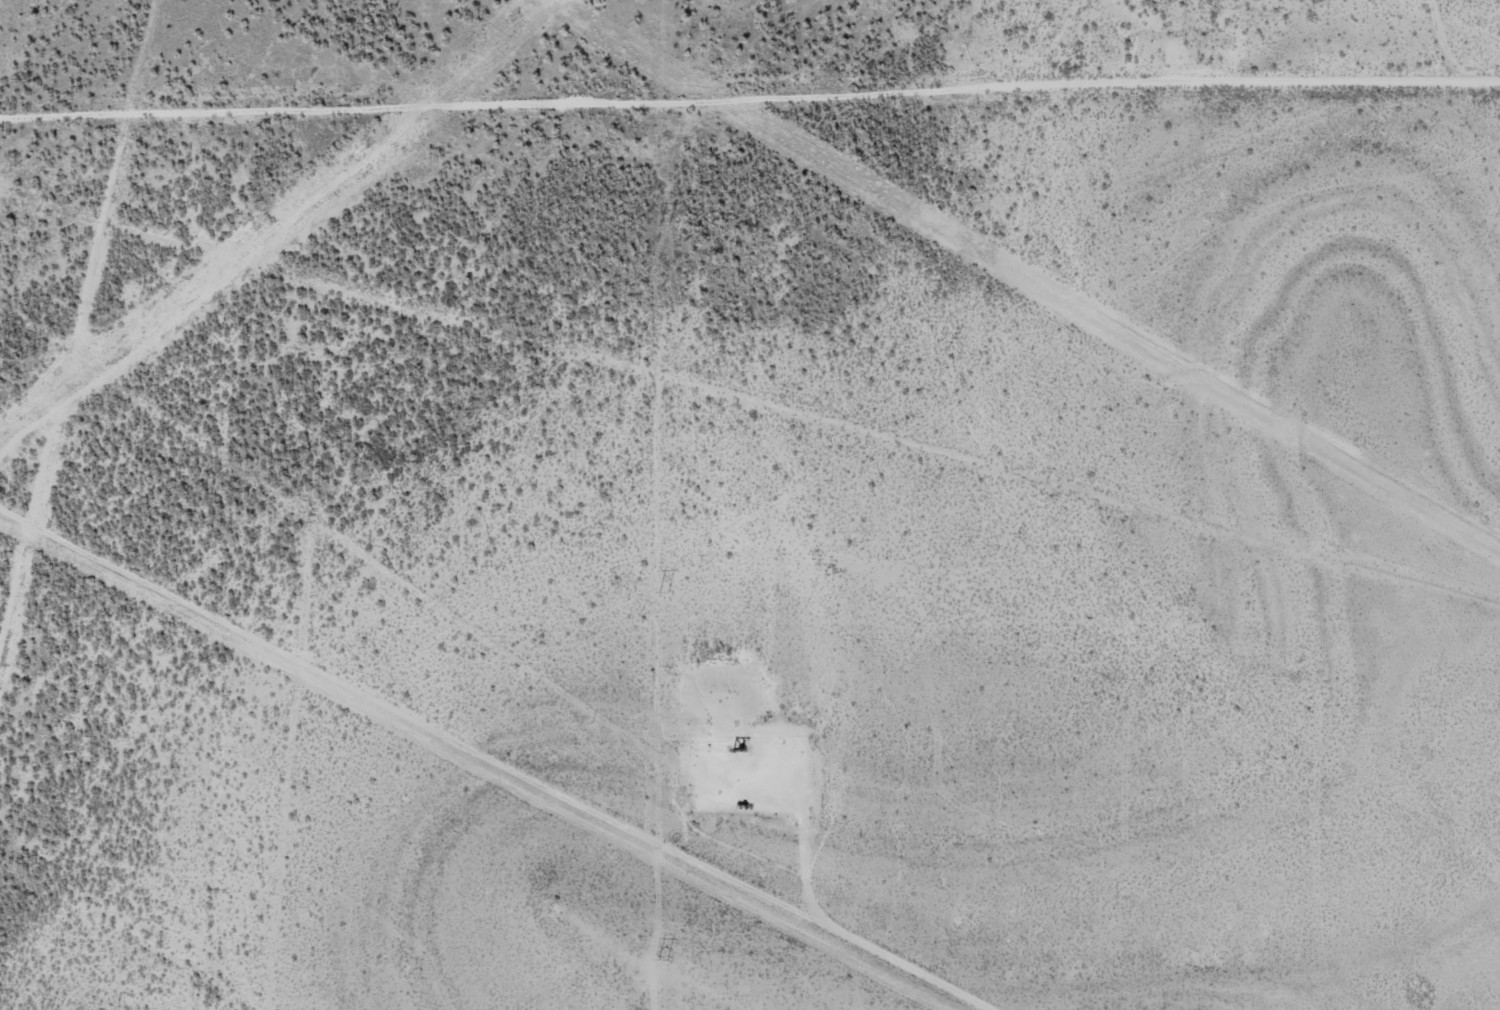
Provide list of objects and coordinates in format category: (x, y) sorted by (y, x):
road: (1056, 96)
power tower: (662, 224)
power tower: (663, 592)
road: (464, 792)
power tower: (663, 958)

